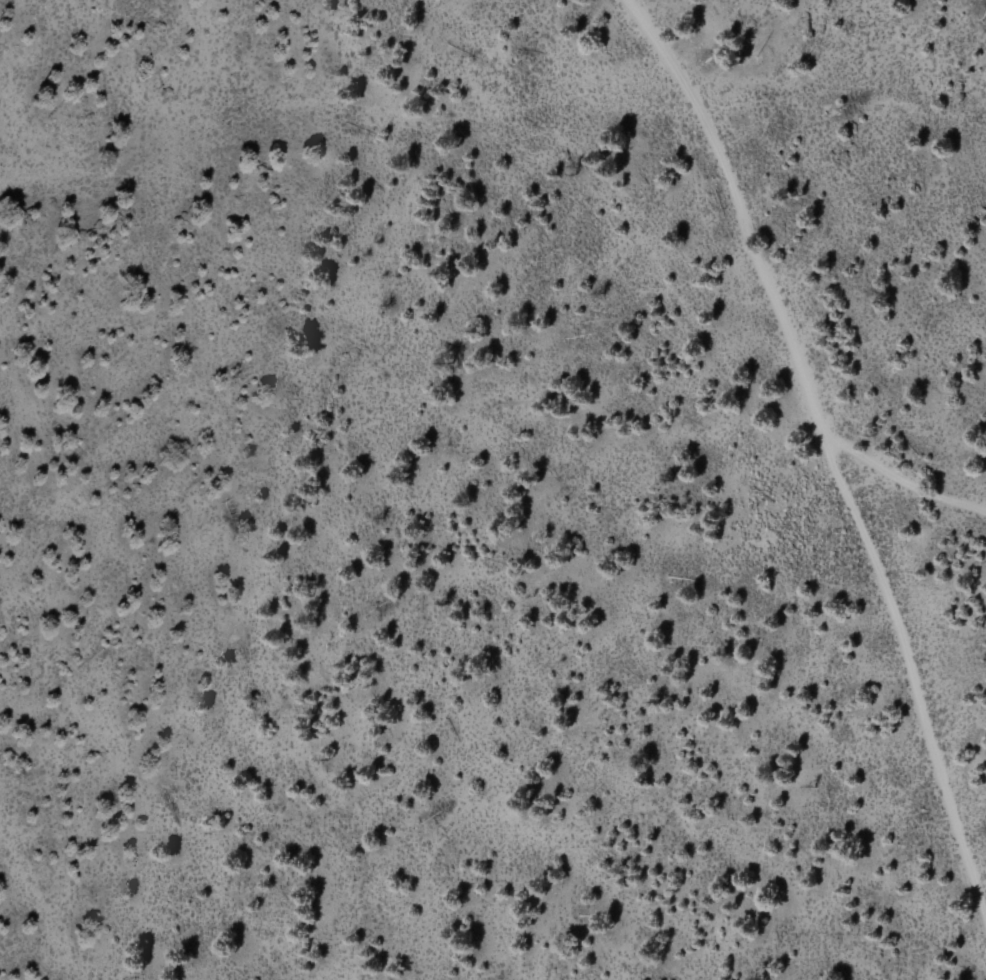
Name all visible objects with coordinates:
road: (780, 294)
road: (907, 680)

